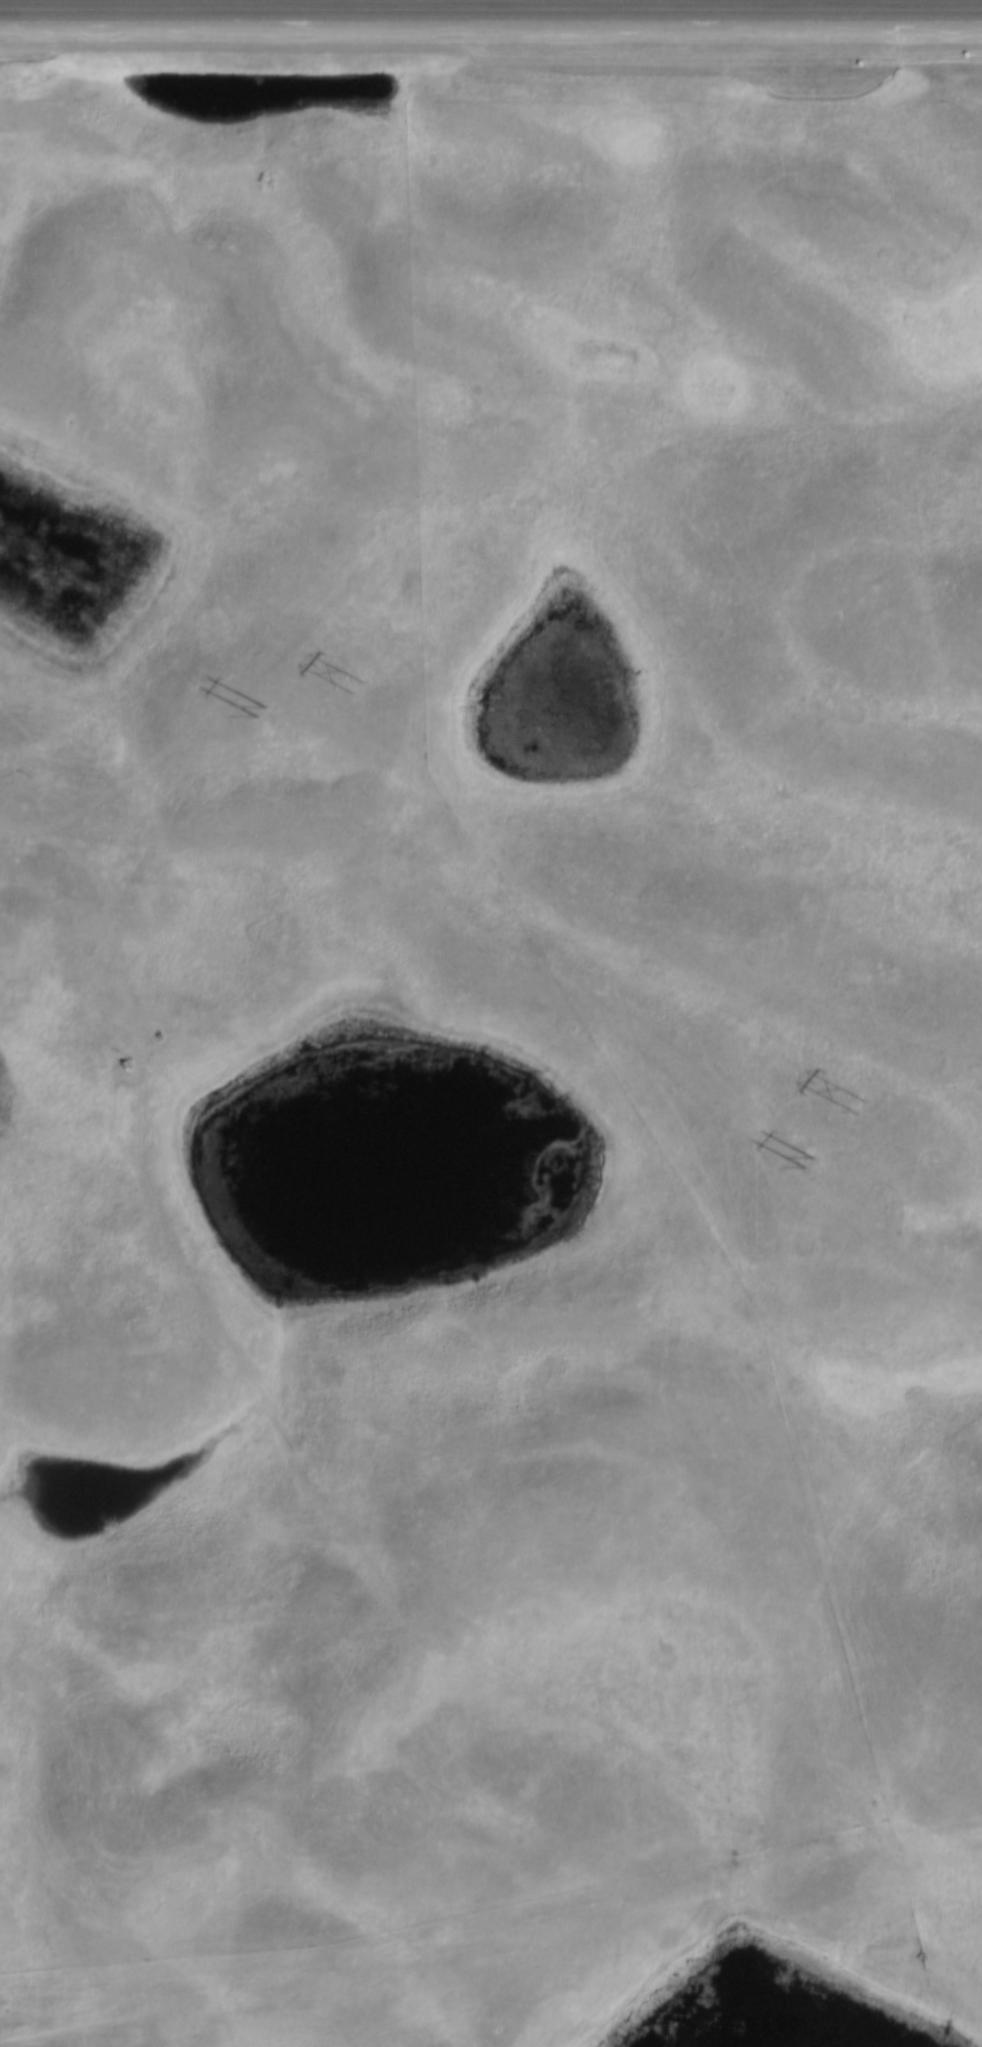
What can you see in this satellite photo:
road: (73, 1)
road: (731, 4)
power tower: (355, 686)
road: (103, 901)
power tower: (856, 1104)

